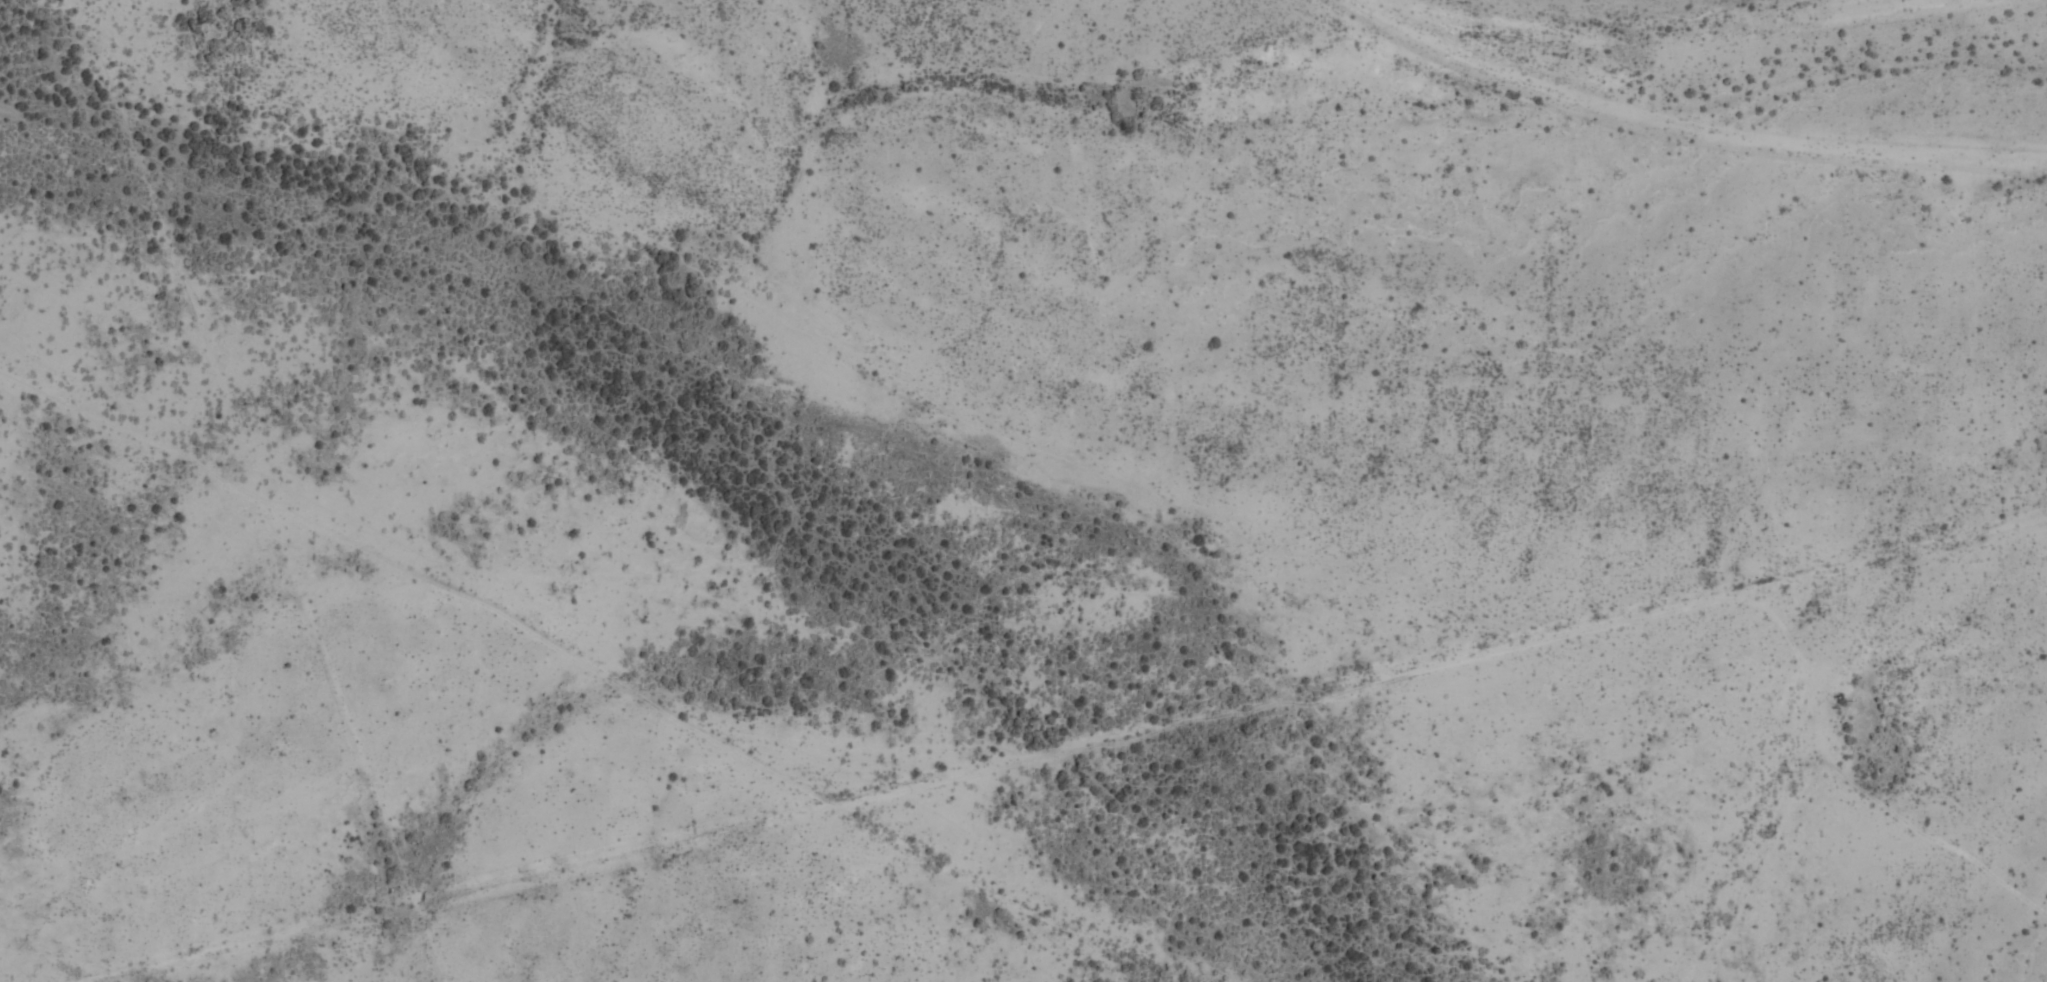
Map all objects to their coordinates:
road: (1902, 820)

